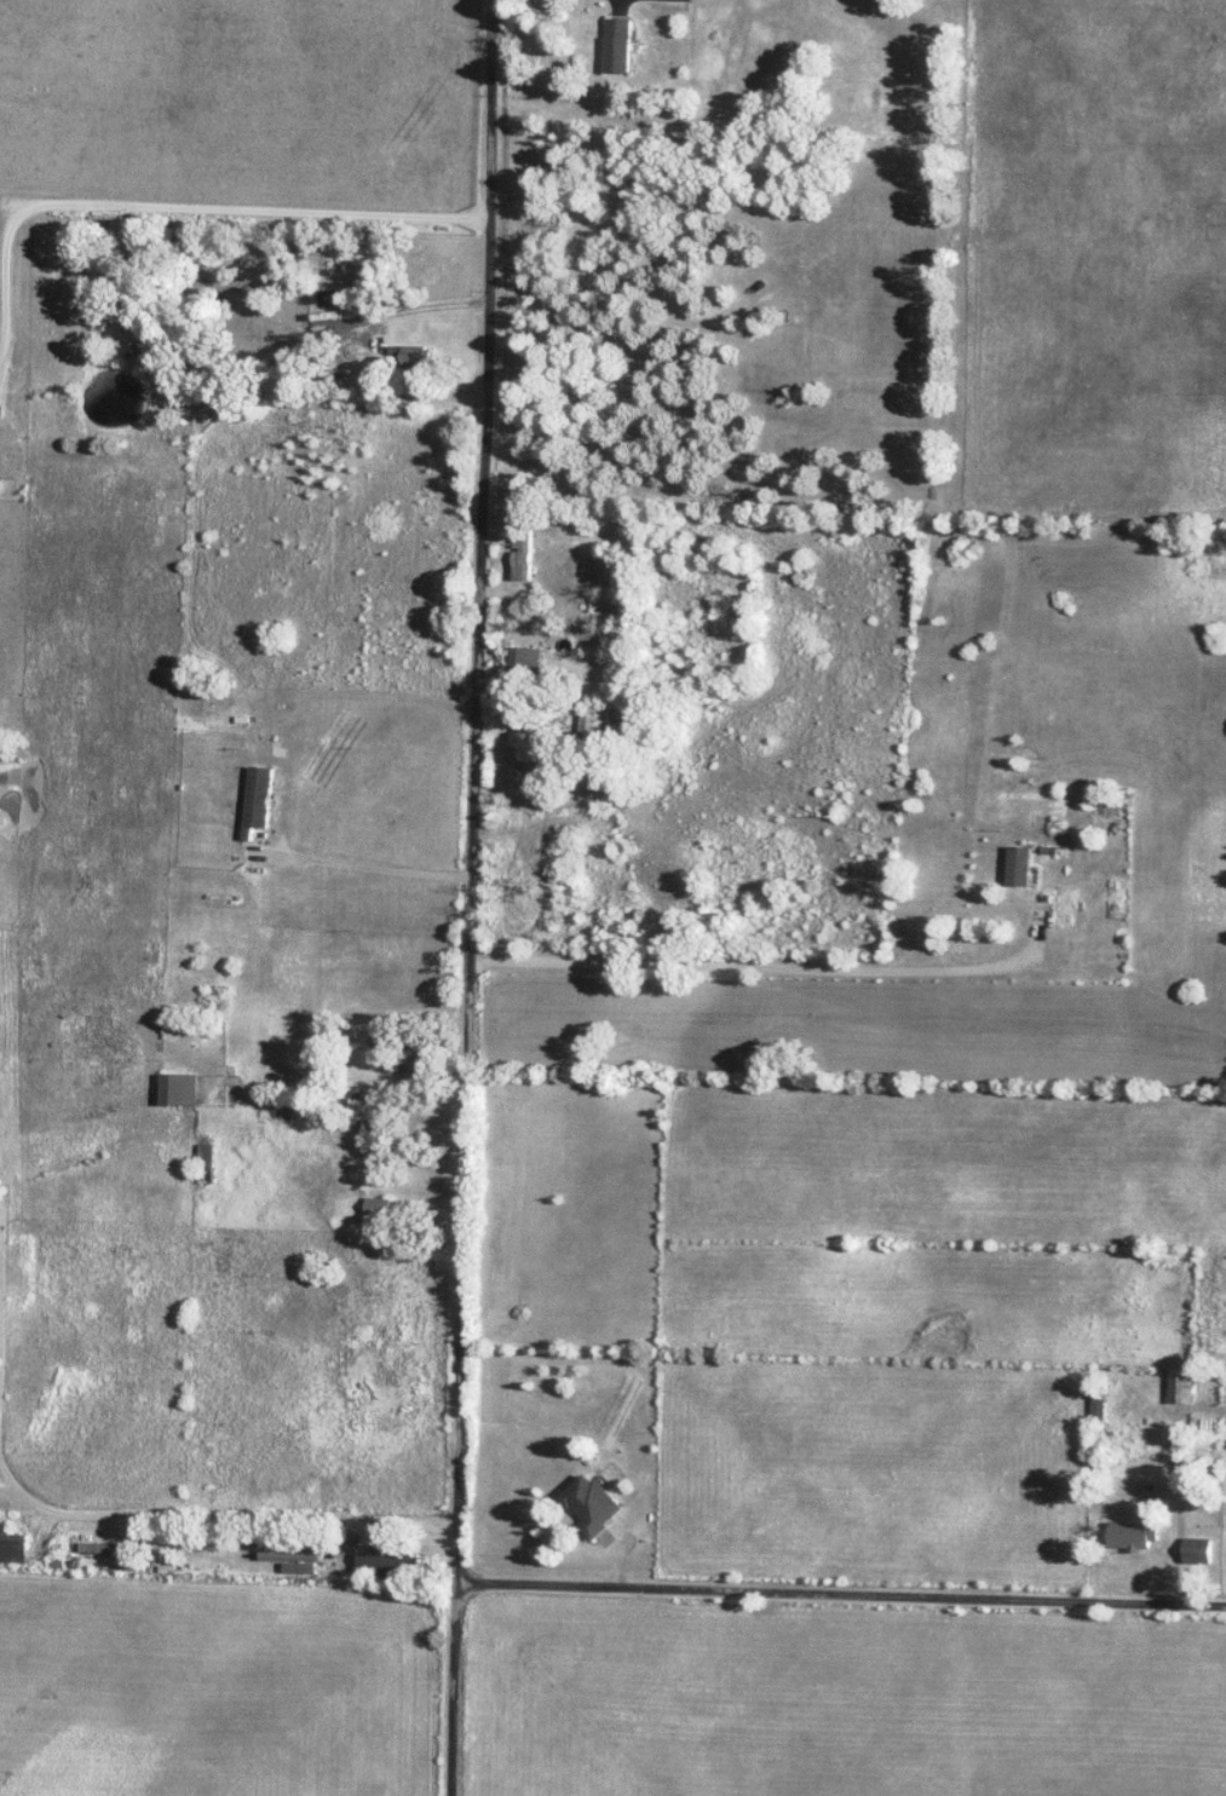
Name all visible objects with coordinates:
road: (623, 8)
building: (621, 45)
road: (178, 206)
building: (136, 317)
building: (413, 356)
road: (320, 386)
building: (524, 553)
building: (525, 662)
building: (594, 723)
building: (261, 799)
building: (1103, 799)
building: (1021, 865)
road: (380, 867)
road: (476, 897)
road: (796, 968)
building: (382, 1037)
building: (419, 1060)
building: (182, 1088)
building: (284, 1105)
road: (438, 1127)
building: (208, 1162)
road: (453, 1208)
building: (381, 1210)
building: (1187, 1385)
building: (1104, 1404)
building: (1196, 1468)
building: (592, 1503)
road: (75, 1521)
building: (1139, 1535)
building: (13, 1545)
building: (104, 1547)
building: (1204, 1549)
building: (197, 1550)
building: (293, 1554)
building: (390, 1558)
road: (842, 1600)

